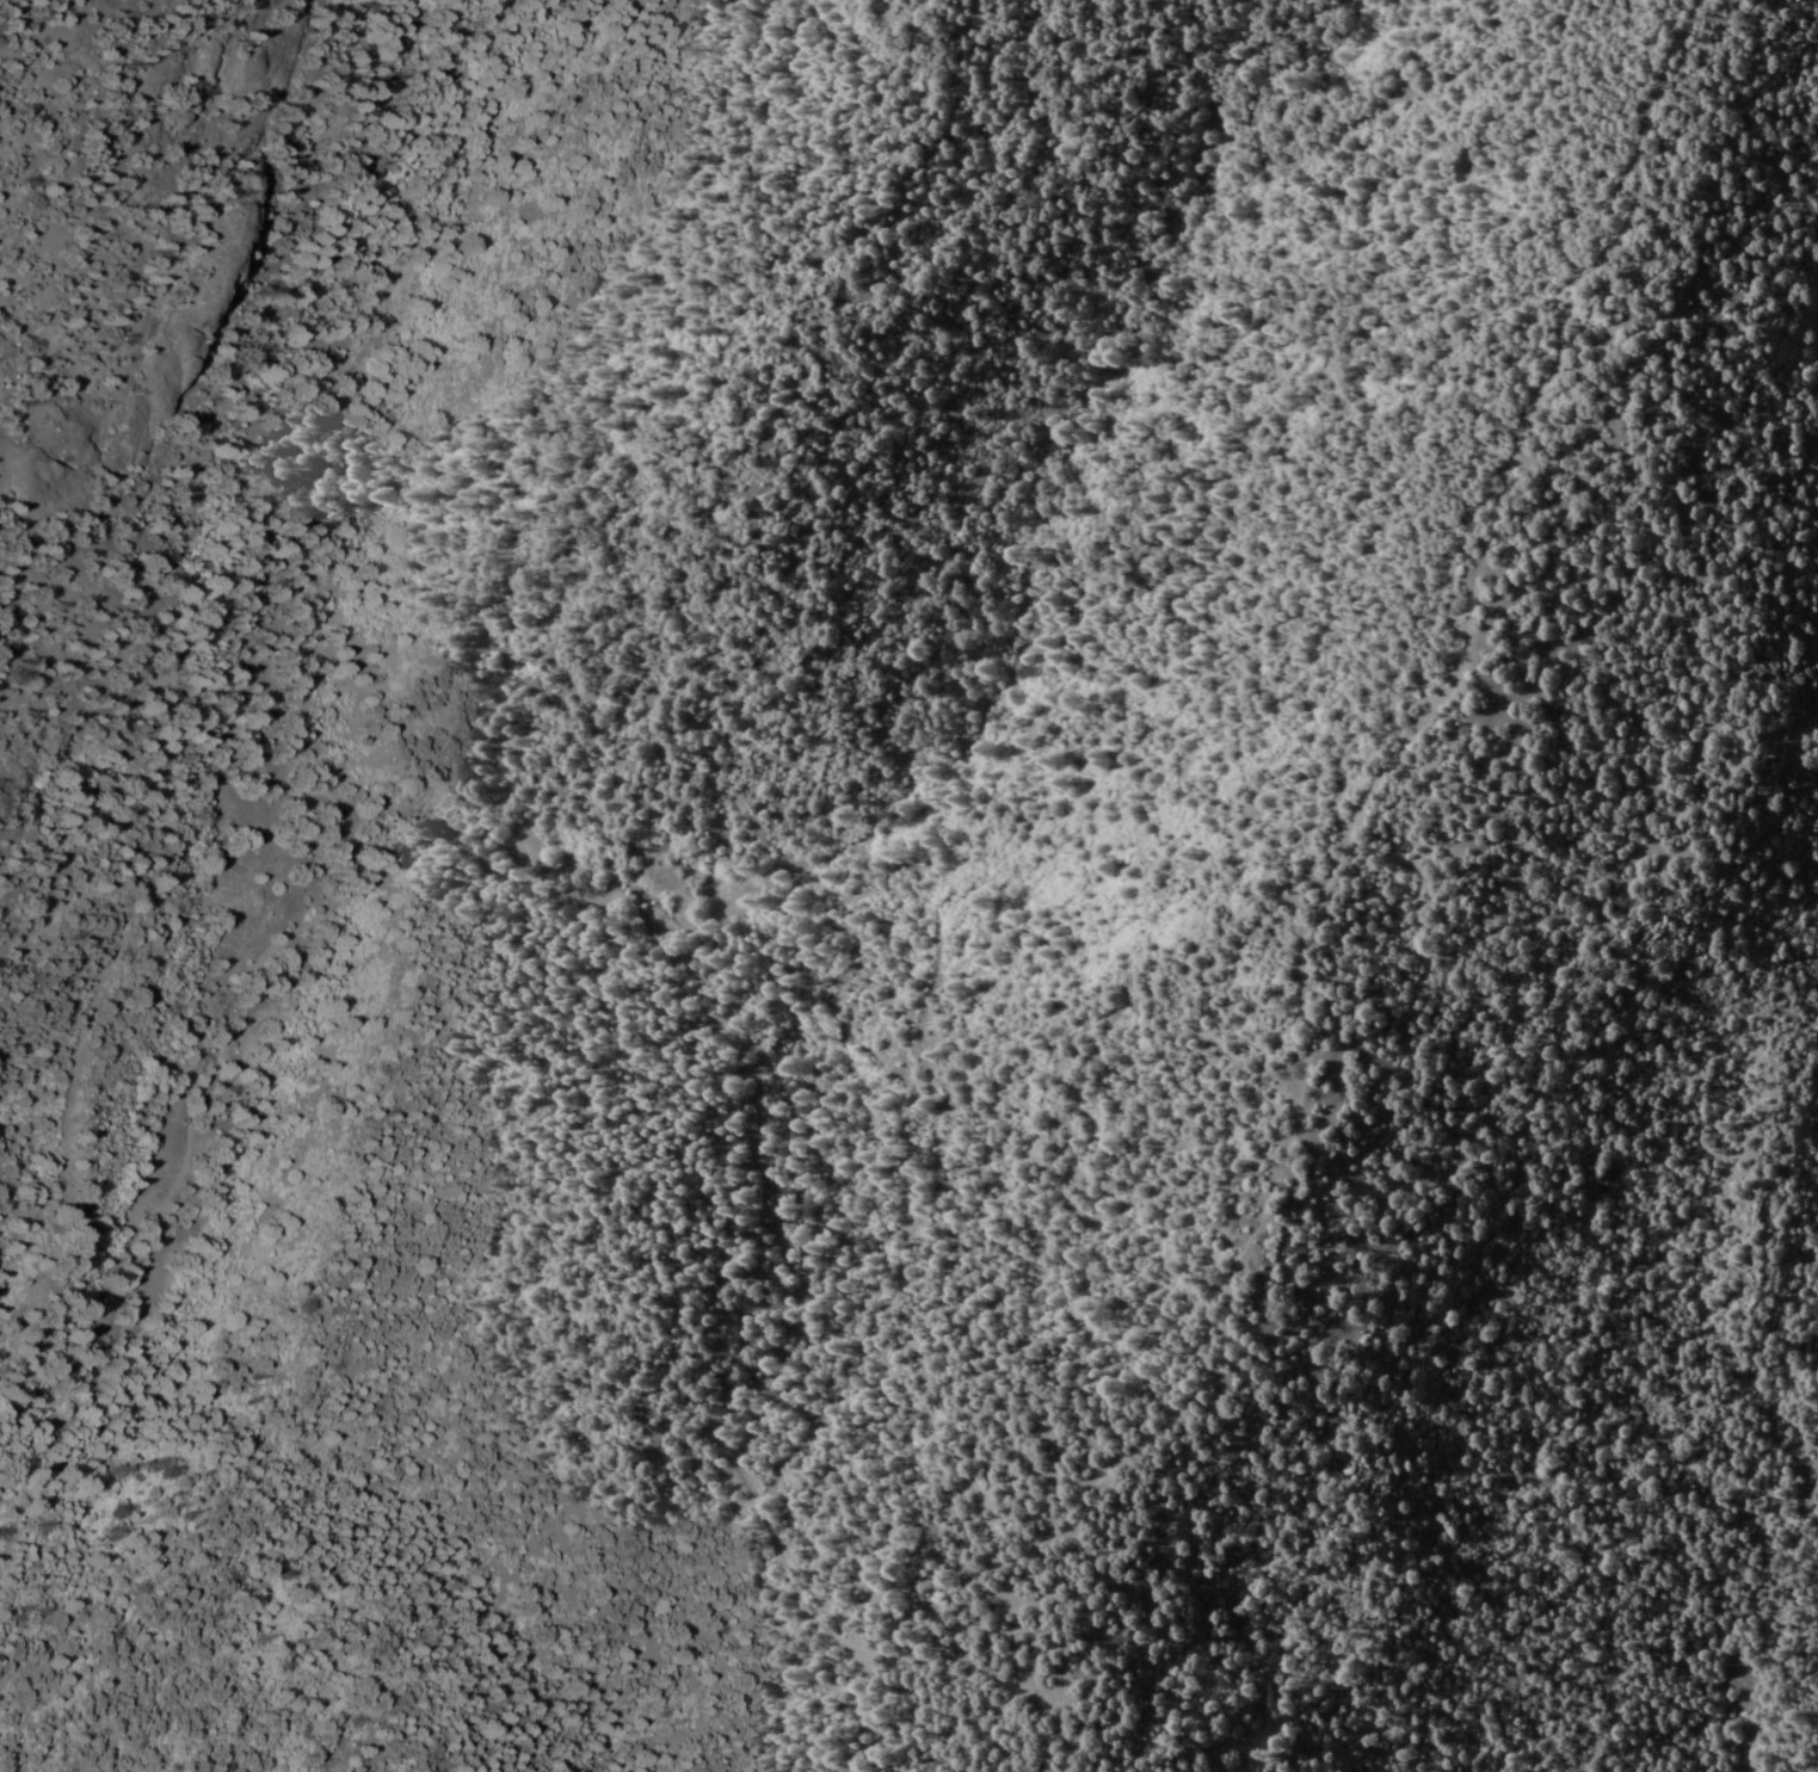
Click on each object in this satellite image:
road: (1329, 888)

